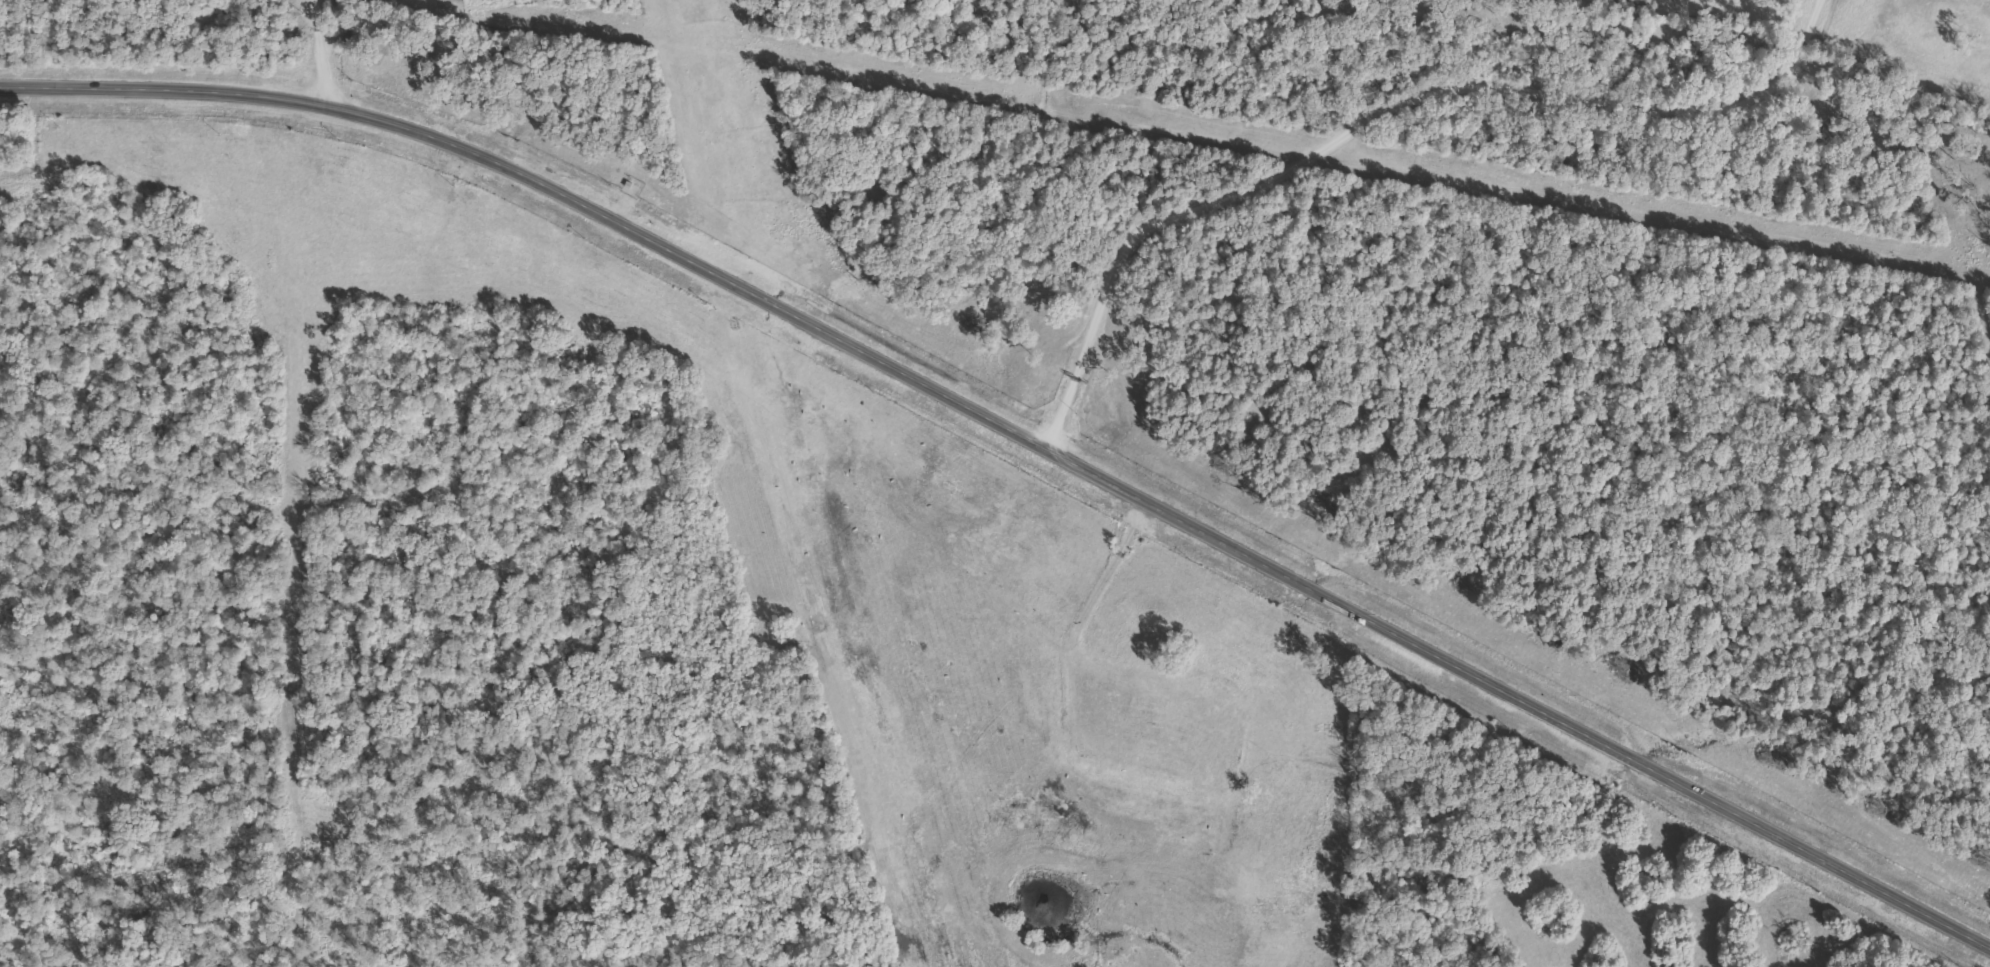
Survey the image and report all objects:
road: (1394, 83)
road: (1022, 434)

